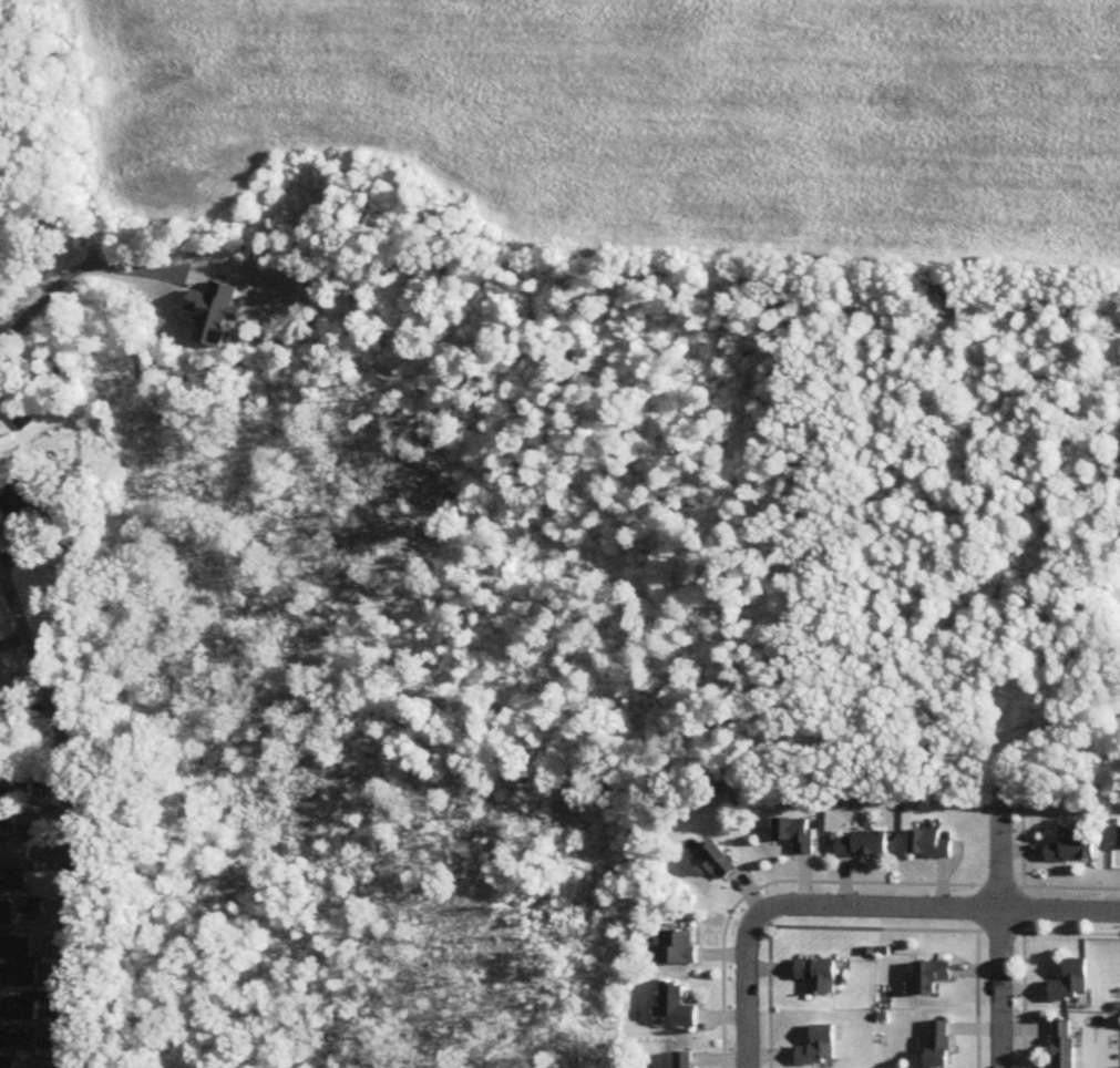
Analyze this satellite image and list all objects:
road: (74, 270)
building: (21, 504)
building: (21, 792)
road: (69, 813)
building: (7, 818)
building: (1119, 834)
building: (795, 835)
building: (862, 846)
building: (929, 846)
building: (1071, 852)
building: (16, 853)
building: (716, 863)
building: (7, 915)
road: (943, 921)
road: (1004, 931)
building: (16, 944)
building: (677, 949)
building: (20, 973)
building: (818, 977)
building: (931, 978)
building: (1071, 984)
road: (761, 1005)
building: (678, 1008)
building: (19, 1010)
building: (18, 1039)
building: (938, 1045)
building: (1062, 1045)
building: (819, 1049)
building: (687, 1060)
building: (8, 1061)

